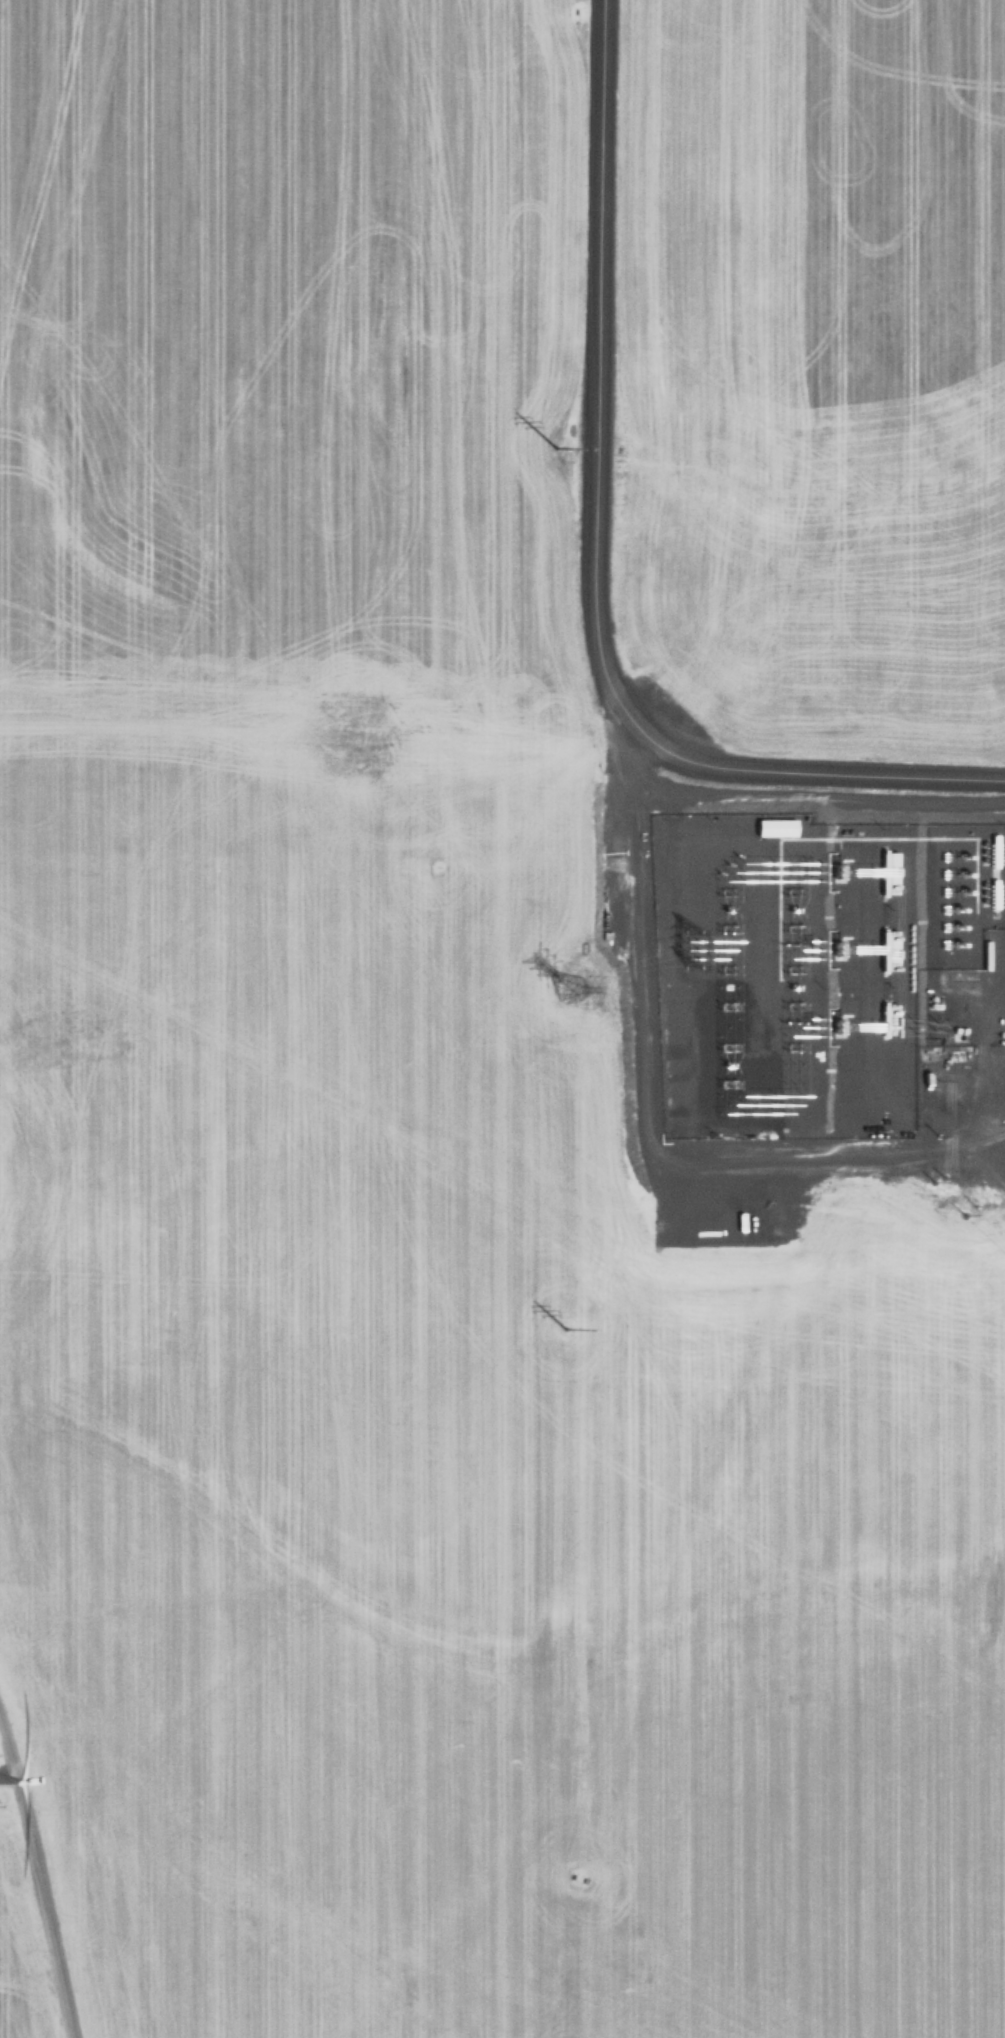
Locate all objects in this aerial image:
power tower: (552, 444)
road: (592, 557)
building: (778, 827)
power substation: (819, 972)
power tower: (569, 996)
power tower: (564, 1333)
road: (36, 1880)

